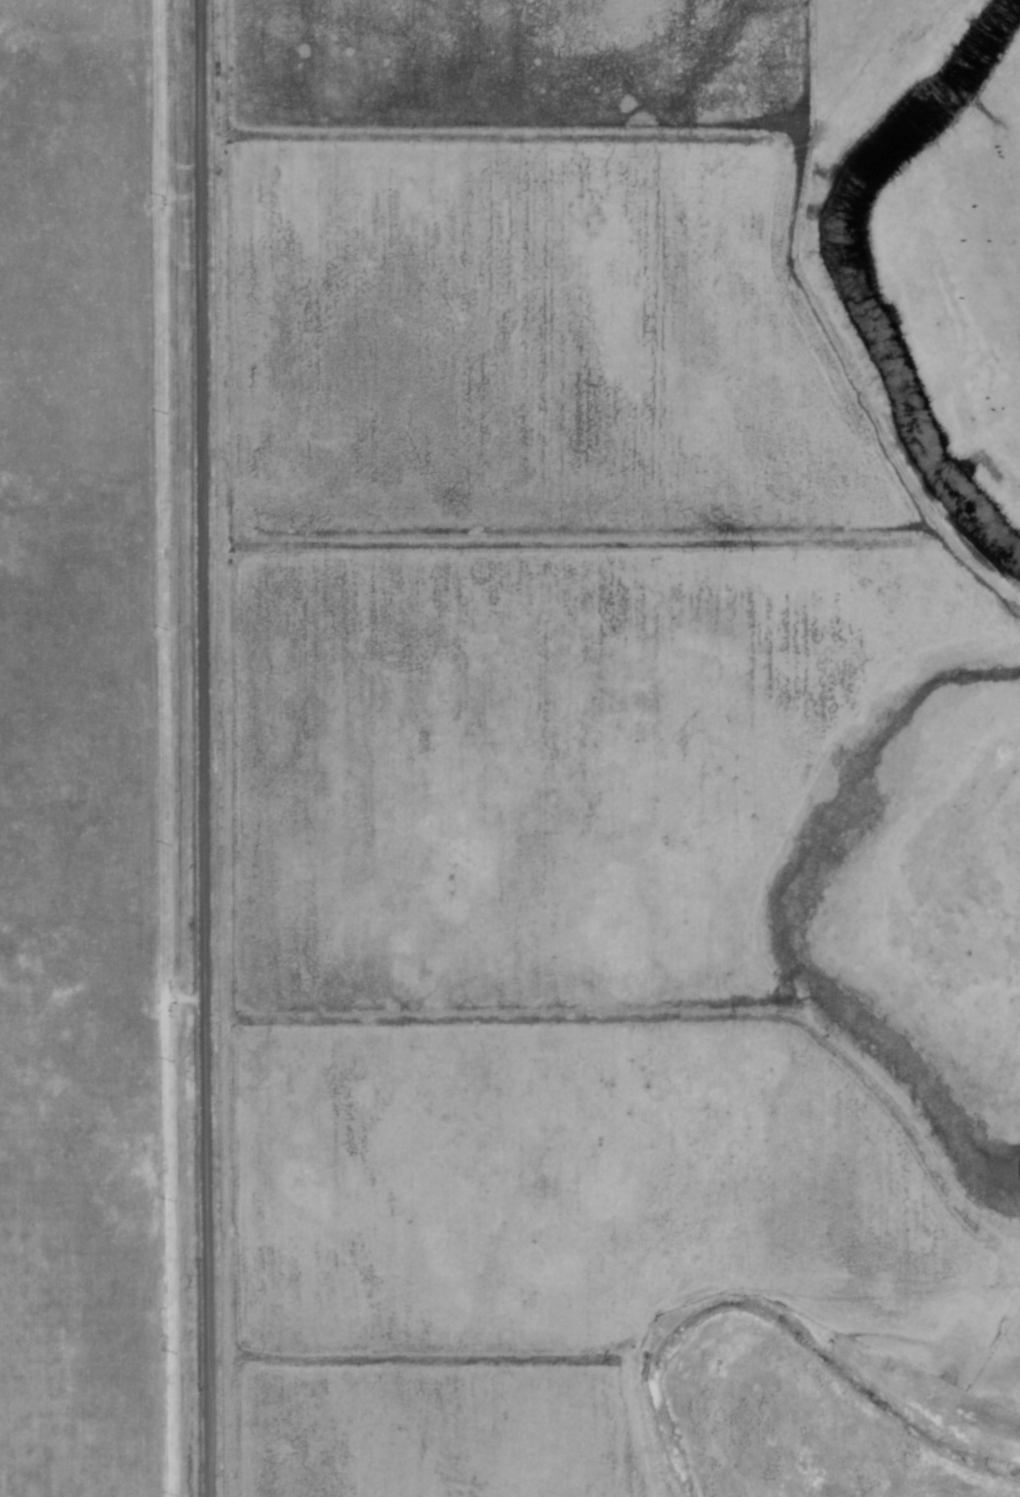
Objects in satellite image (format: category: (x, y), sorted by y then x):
crop: (522, 67)
crop: (539, 346)
road: (209, 748)
crop: (86, 760)
crop: (645, 799)
crop: (590, 1192)
crop: (1003, 1372)
crop: (441, 1429)

